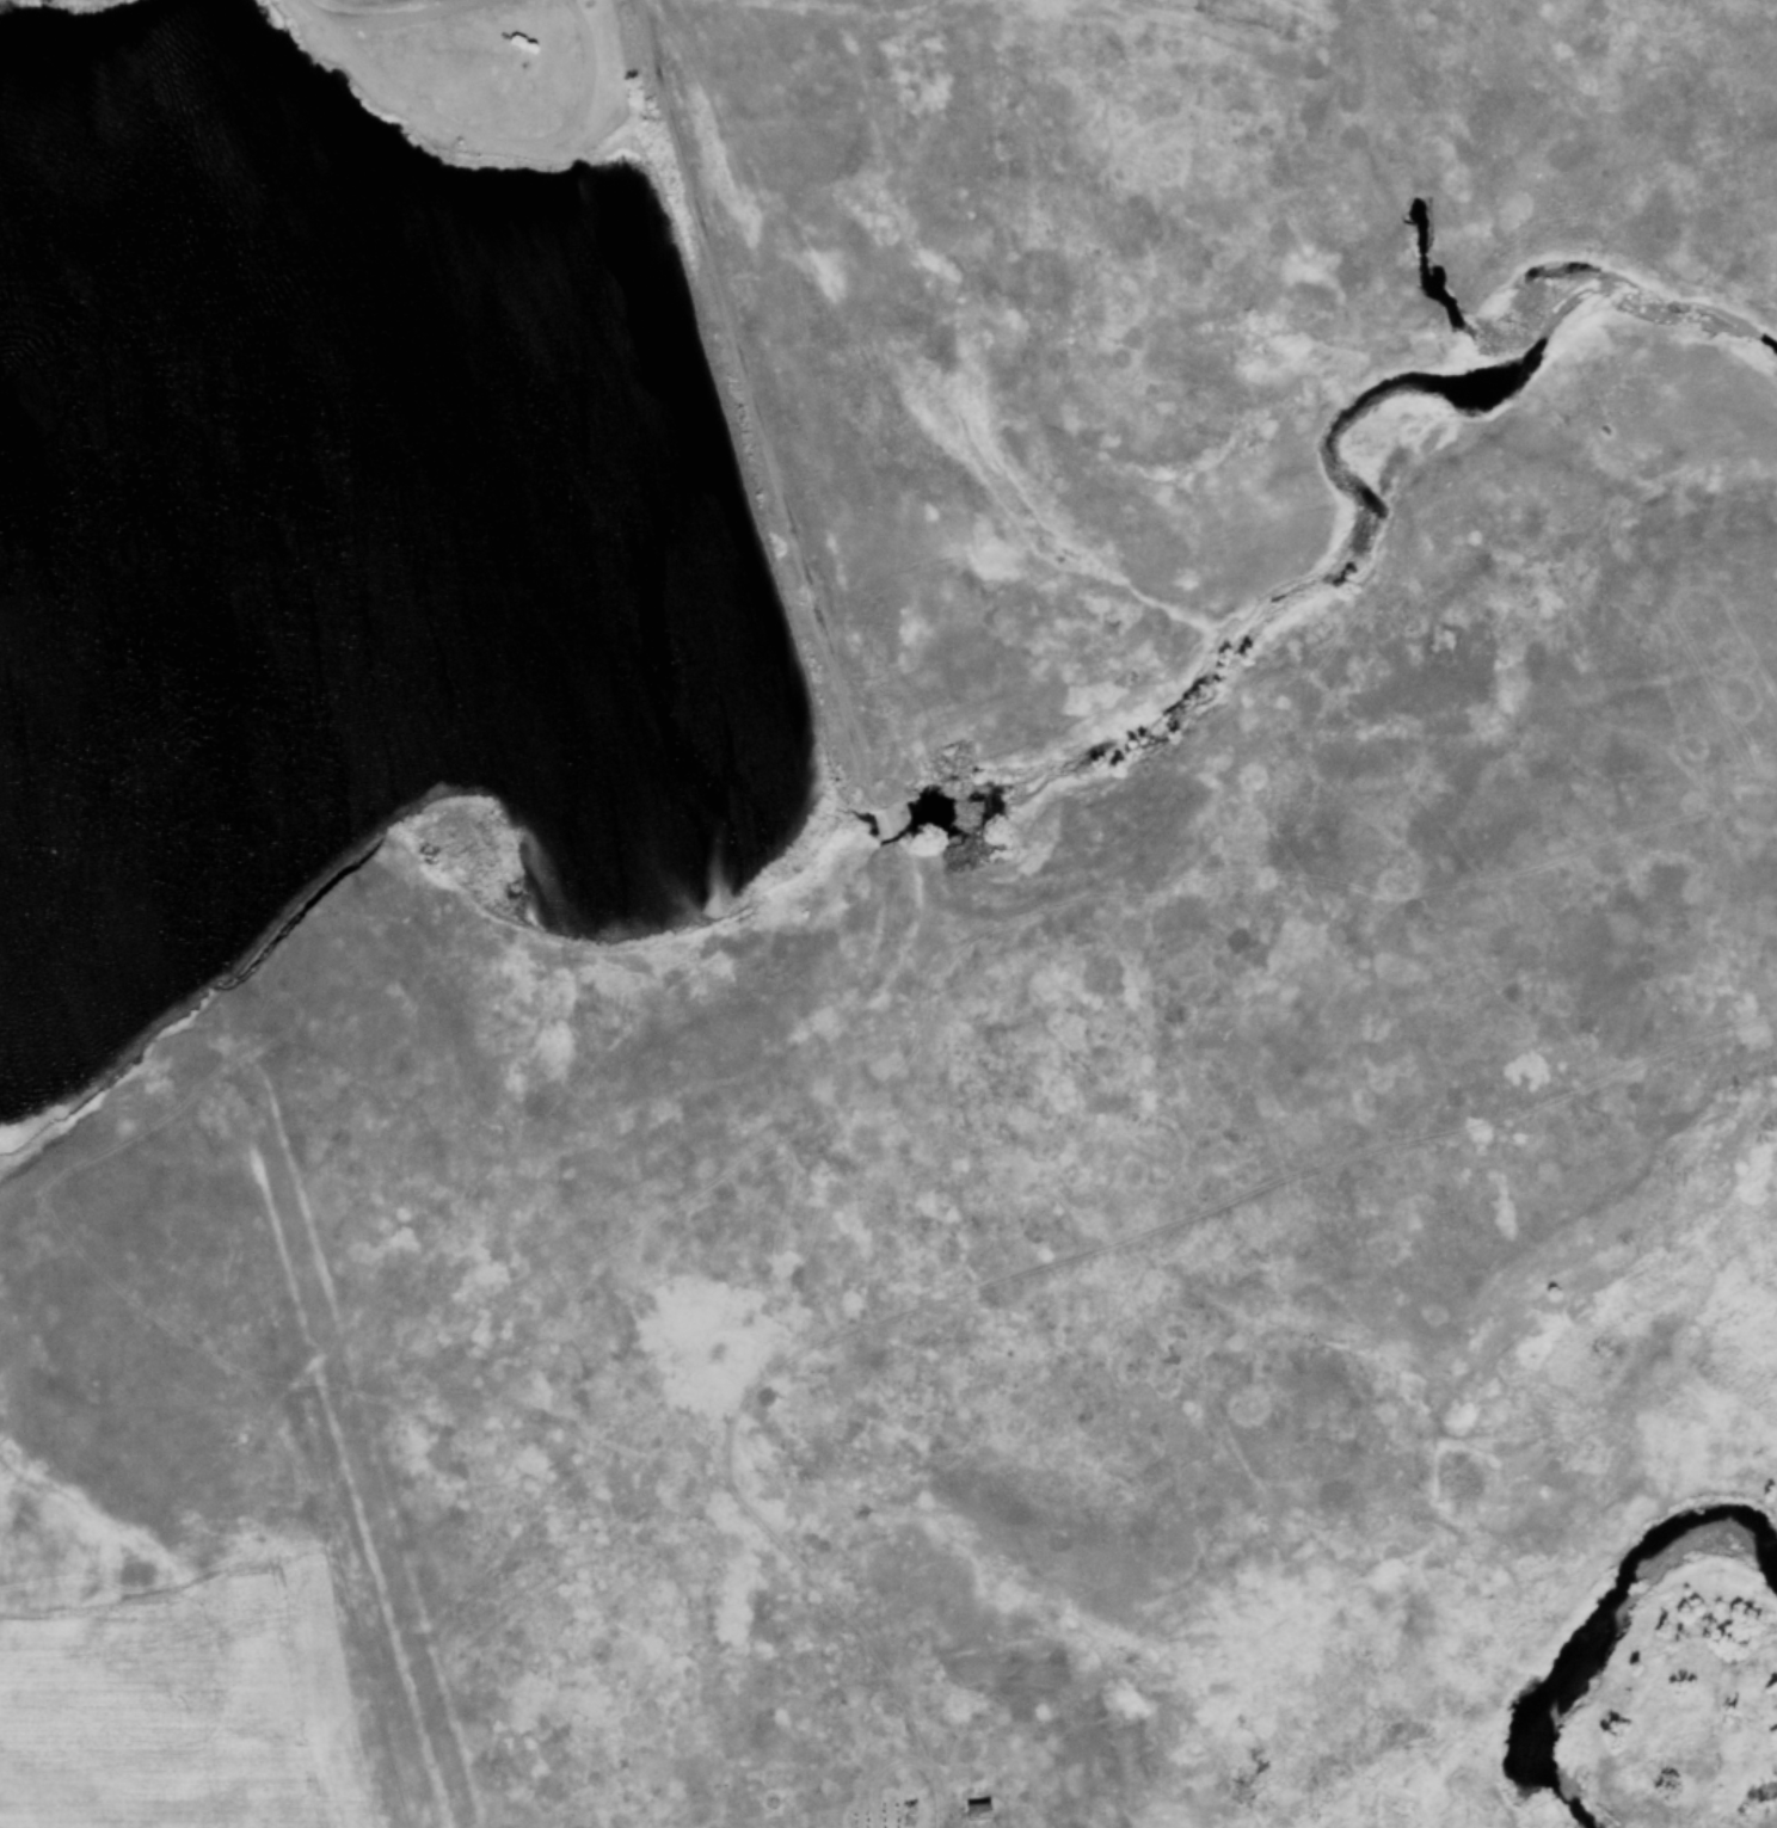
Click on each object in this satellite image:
road: (395, 24)
dam: (728, 472)
road: (474, 1235)
building: (978, 1815)

